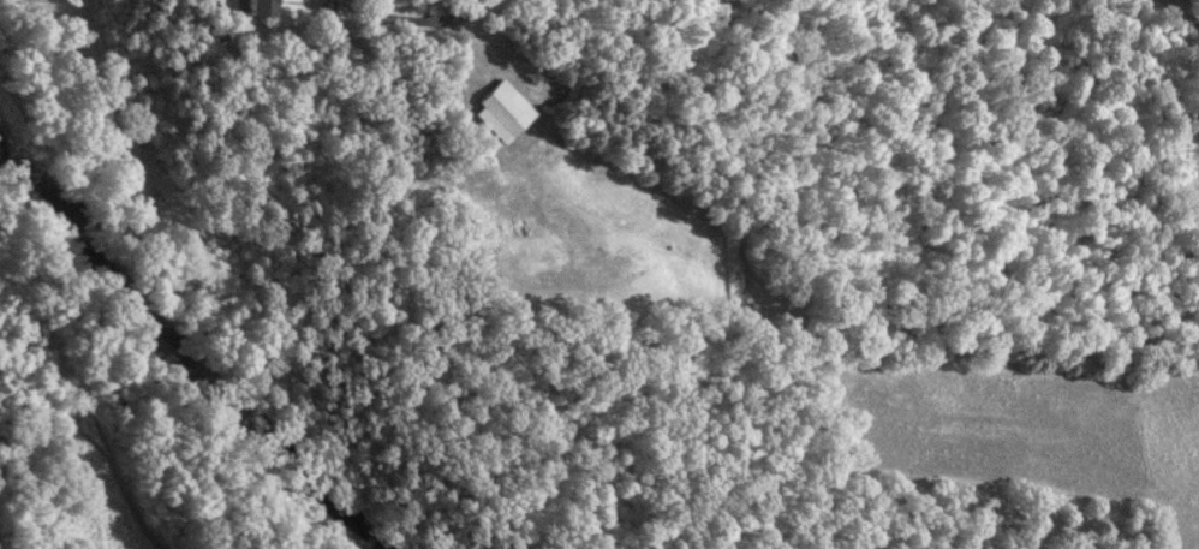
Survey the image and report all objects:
building: (255, 7)
road: (408, 18)
building: (500, 103)

